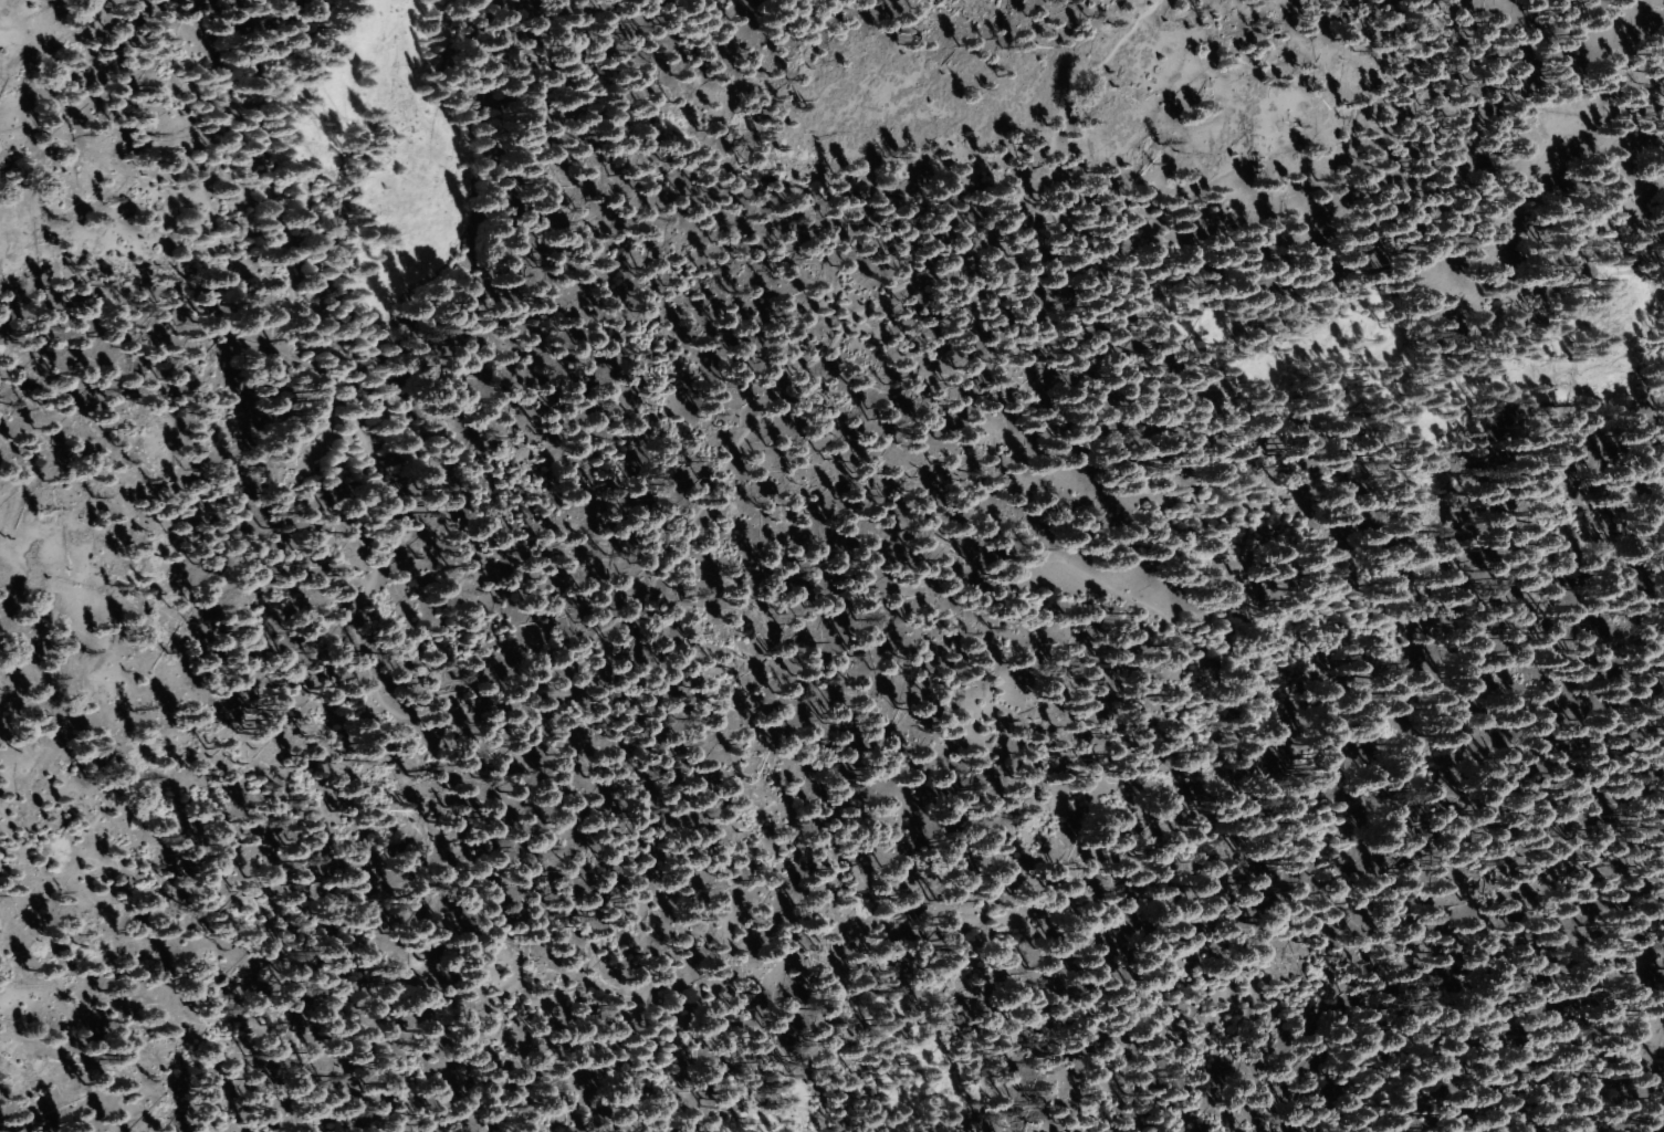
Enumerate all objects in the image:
road: (1208, 662)
road: (554, 671)
building: (335, 1070)

